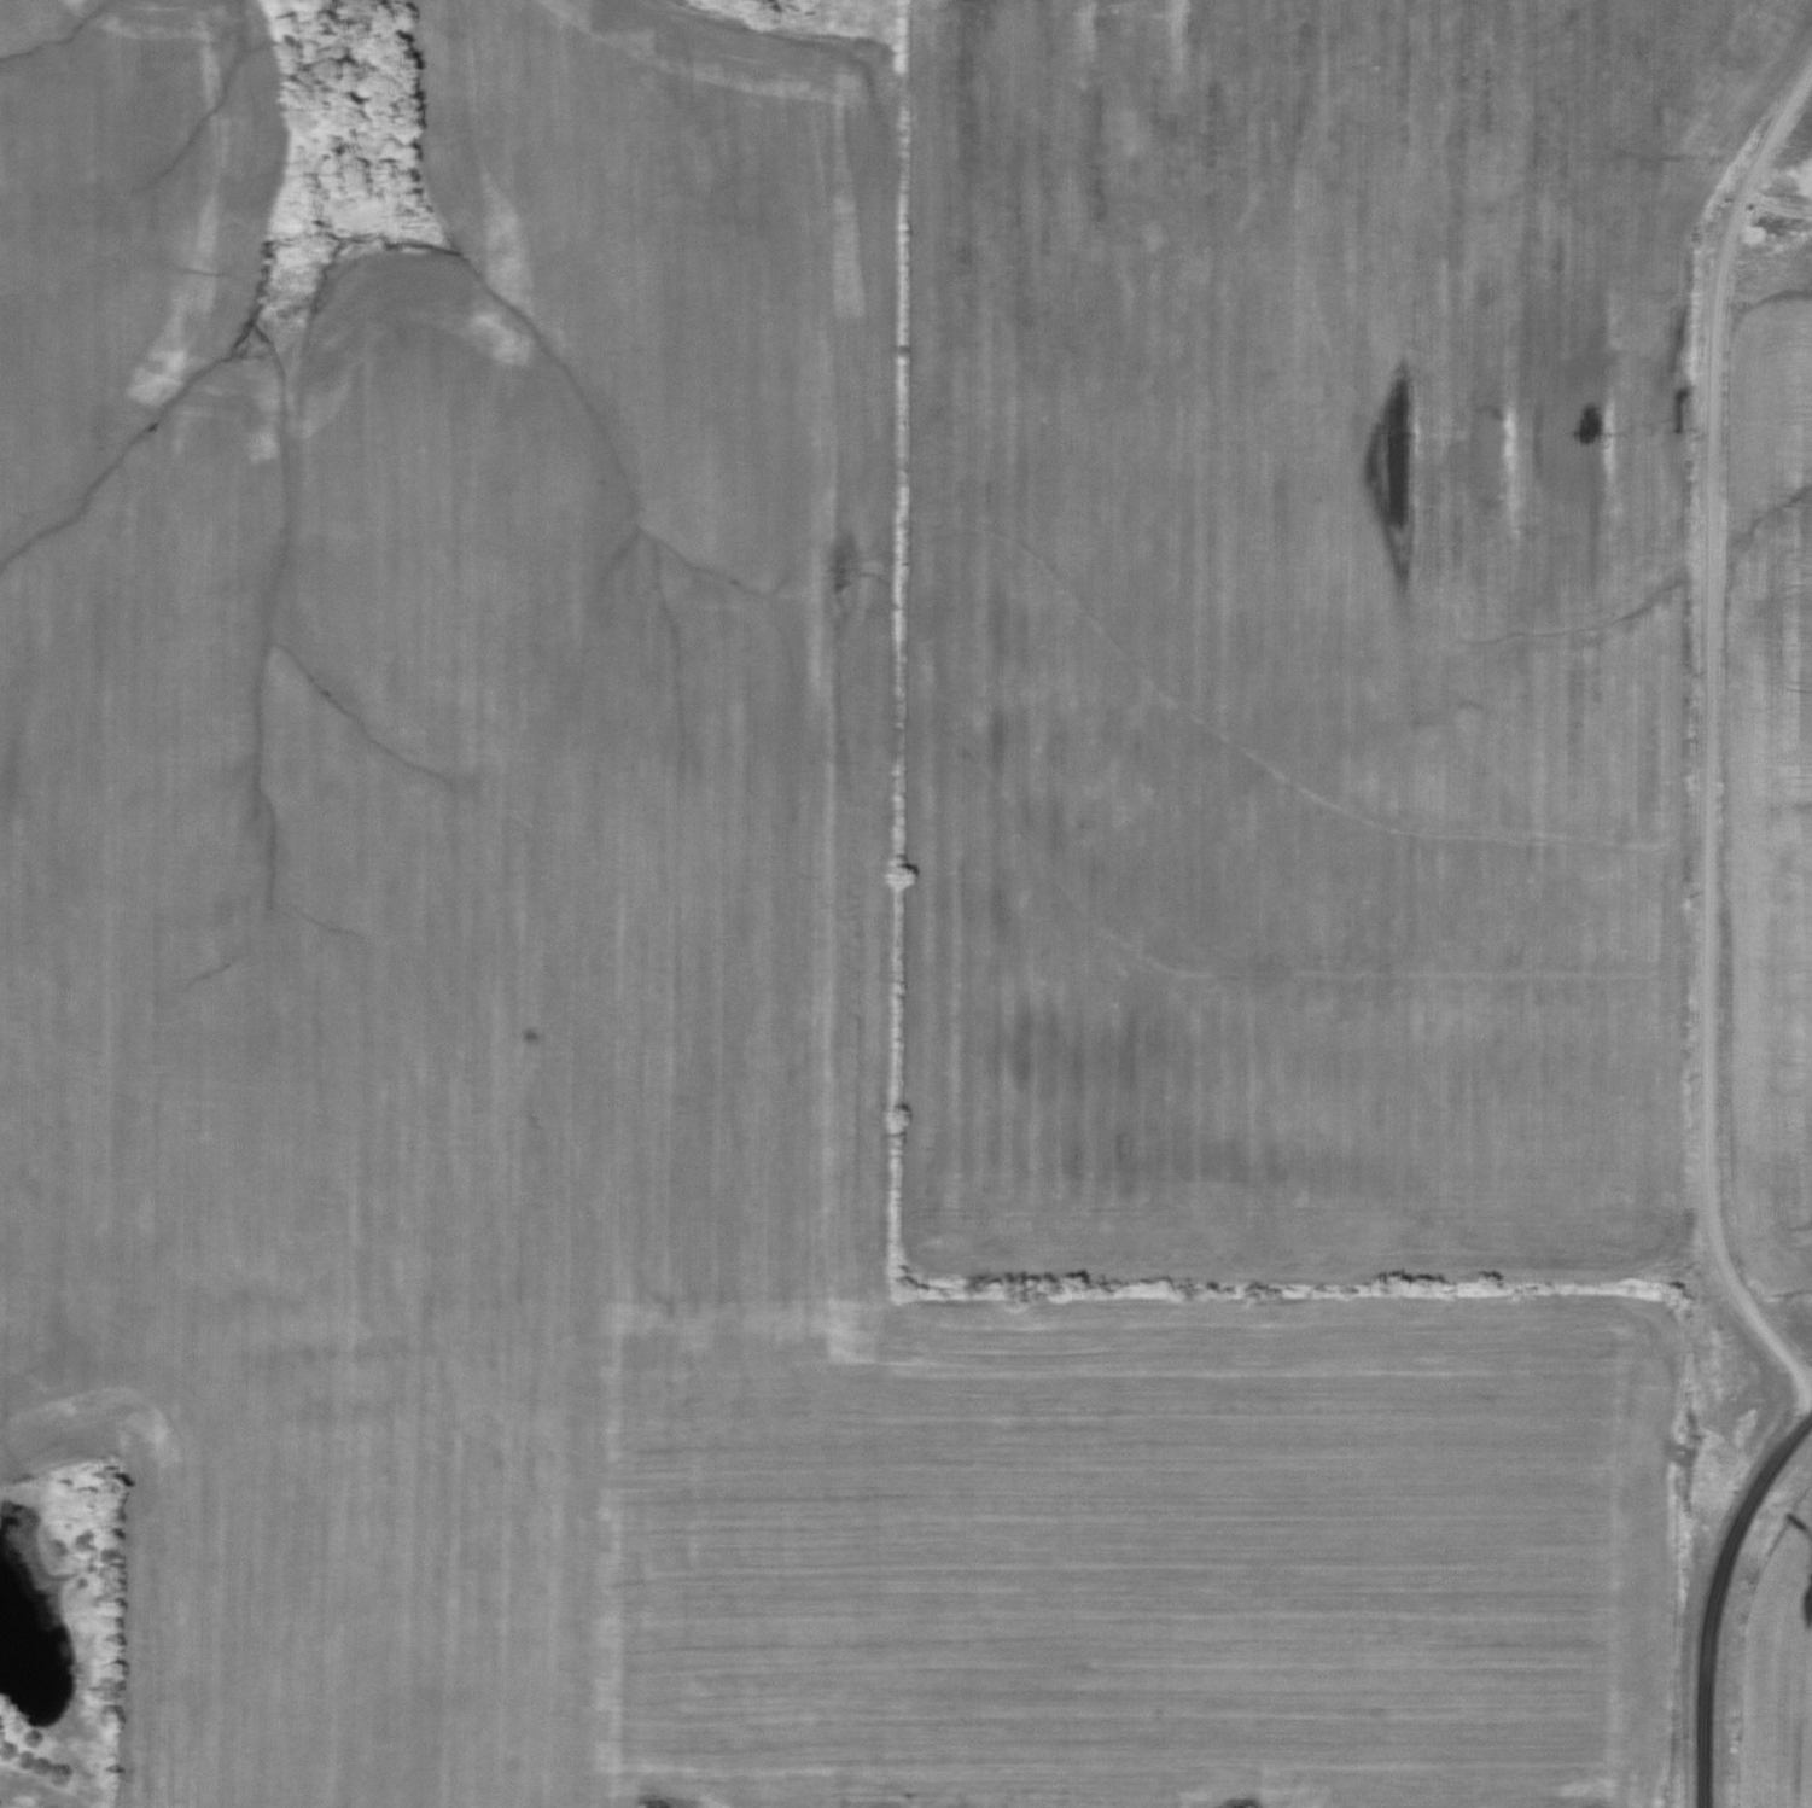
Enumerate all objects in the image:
road: (1706, 734)
road: (1708, 1597)

